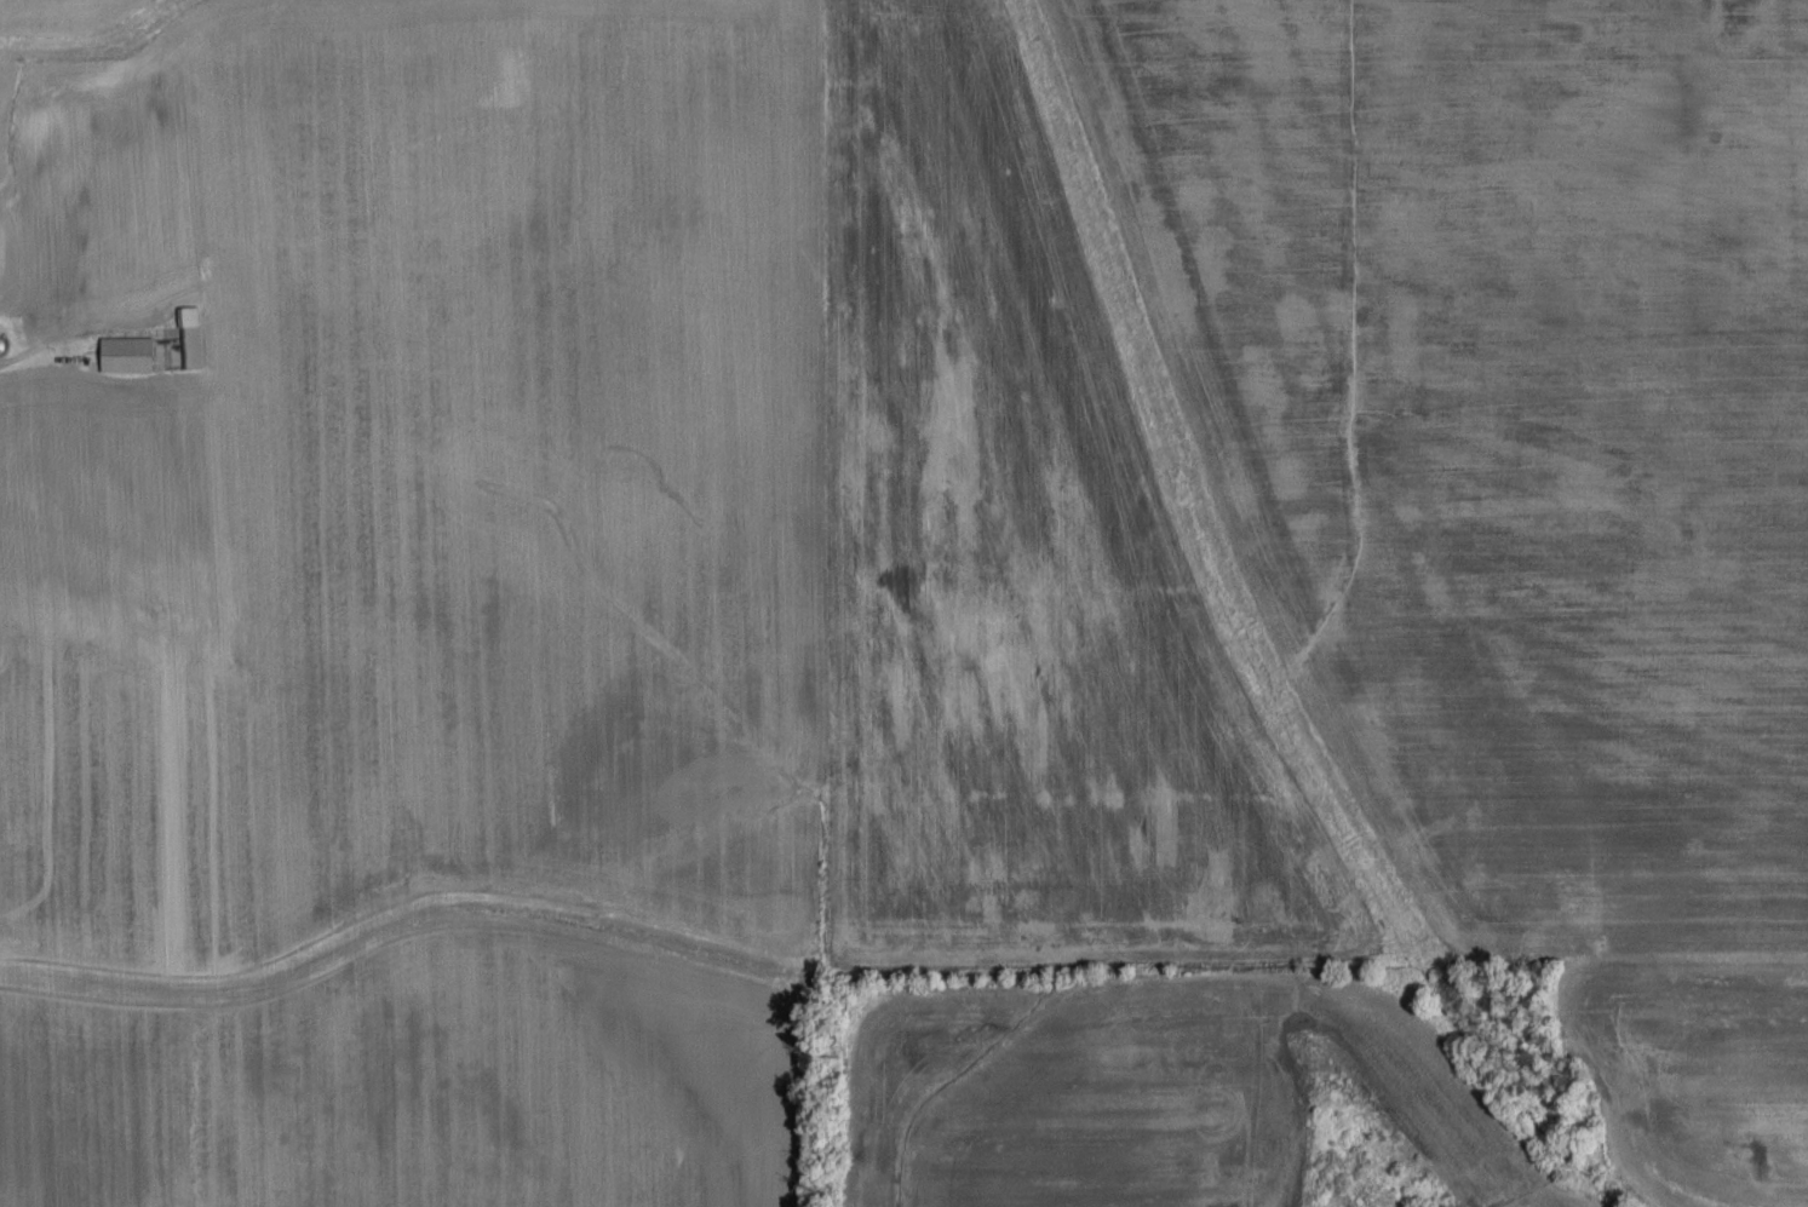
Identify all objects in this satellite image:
building: (133, 352)

